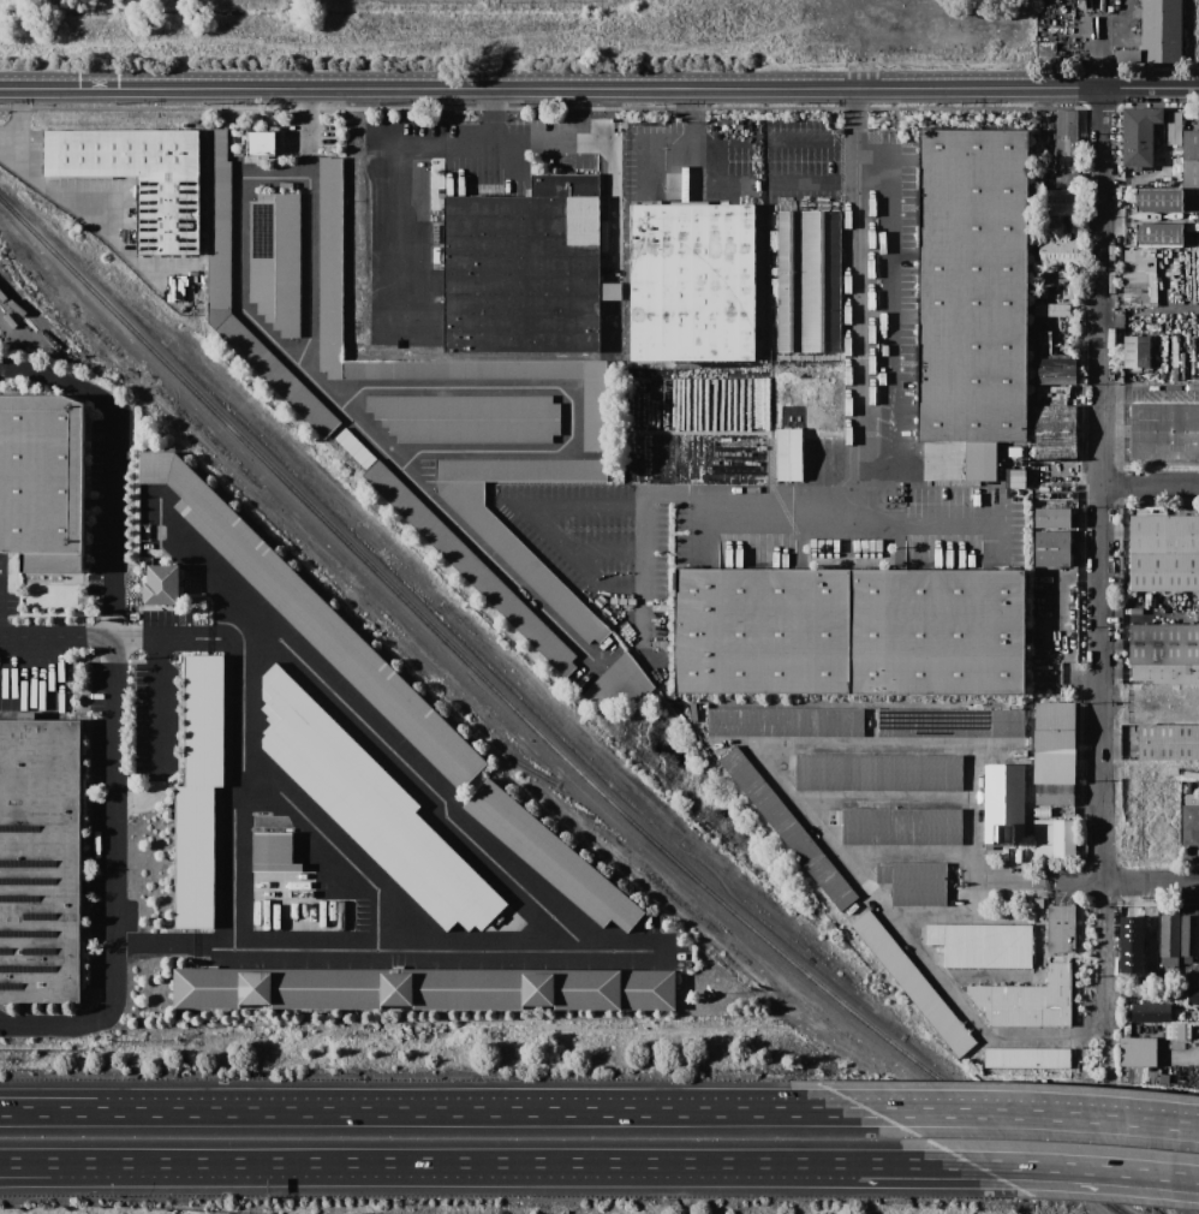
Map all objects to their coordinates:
building: (1161, 31)
building: (1128, 55)
road: (599, 72)
road: (548, 87)
road: (1147, 89)
road: (18, 108)
road: (491, 114)
building: (1173, 127)
building: (1139, 135)
building: (261, 143)
road: (726, 143)
road: (466, 144)
road: (643, 144)
building: (1060, 145)
building: (1191, 159)
building: (139, 177)
road: (810, 179)
building: (1158, 200)
road: (1147, 216)
road: (87, 224)
road: (310, 224)
building: (1057, 227)
building: (1158, 234)
building: (219, 237)
building: (275, 260)
building: (330, 267)
building: (524, 268)
building: (1139, 276)
building: (797, 280)
building: (692, 281)
building: (972, 285)
building: (895, 297)
road: (855, 298)
building: (1038, 325)
building: (1137, 351)
building: (1056, 370)
road: (565, 389)
building: (804, 404)
road: (350, 415)
building: (595, 415)
building: (467, 417)
building: (1164, 423)
building: (1056, 433)
building: (1014, 451)
building: (788, 459)
building: (956, 465)
building: (1018, 478)
building: (42, 481)
road: (1149, 484)
road: (1099, 488)
building: (900, 498)
road: (628, 504)
building: (1054, 518)
road: (848, 523)
road: (601, 544)
building: (1052, 548)
building: (1164, 553)
building: (471, 567)
building: (530, 569)
building: (160, 584)
road: (619, 600)
building: (312, 617)
building: (849, 631)
building: (1164, 644)
building: (1167, 673)
building: (620, 682)
road: (114, 704)
road: (156, 706)
building: (1055, 715)
building: (785, 721)
building: (950, 722)
railway: (538, 733)
building: (1168, 742)
building: (1055, 744)
building: (1019, 754)
building: (1054, 770)
building: (878, 772)
road: (780, 780)
road: (239, 788)
building: (198, 792)
building: (1055, 795)
building: (372, 807)
building: (1004, 808)
building: (1042, 813)
building: (835, 817)
building: (1191, 820)
building: (901, 826)
building: (788, 828)
building: (1055, 838)
road: (341, 844)
building: (273, 851)
road: (494, 855)
building: (551, 857)
building: (38, 859)
building: (914, 882)
road: (1122, 883)
building: (1060, 929)
building: (1169, 935)
building: (1188, 936)
building: (983, 944)
building: (1129, 944)
road: (1104, 960)
building: (913, 983)
building: (424, 989)
building: (1193, 995)
building: (1026, 1000)
building: (1150, 1012)
building: (1177, 1031)
building: (1137, 1051)
building: (1026, 1058)
building: (1138, 1073)
building: (1163, 1078)
road: (420, 1111)
road: (1020, 1113)
road: (100, 1161)
road: (537, 1162)
road: (907, 1162)
road: (1069, 1167)
road: (100, 1168)

